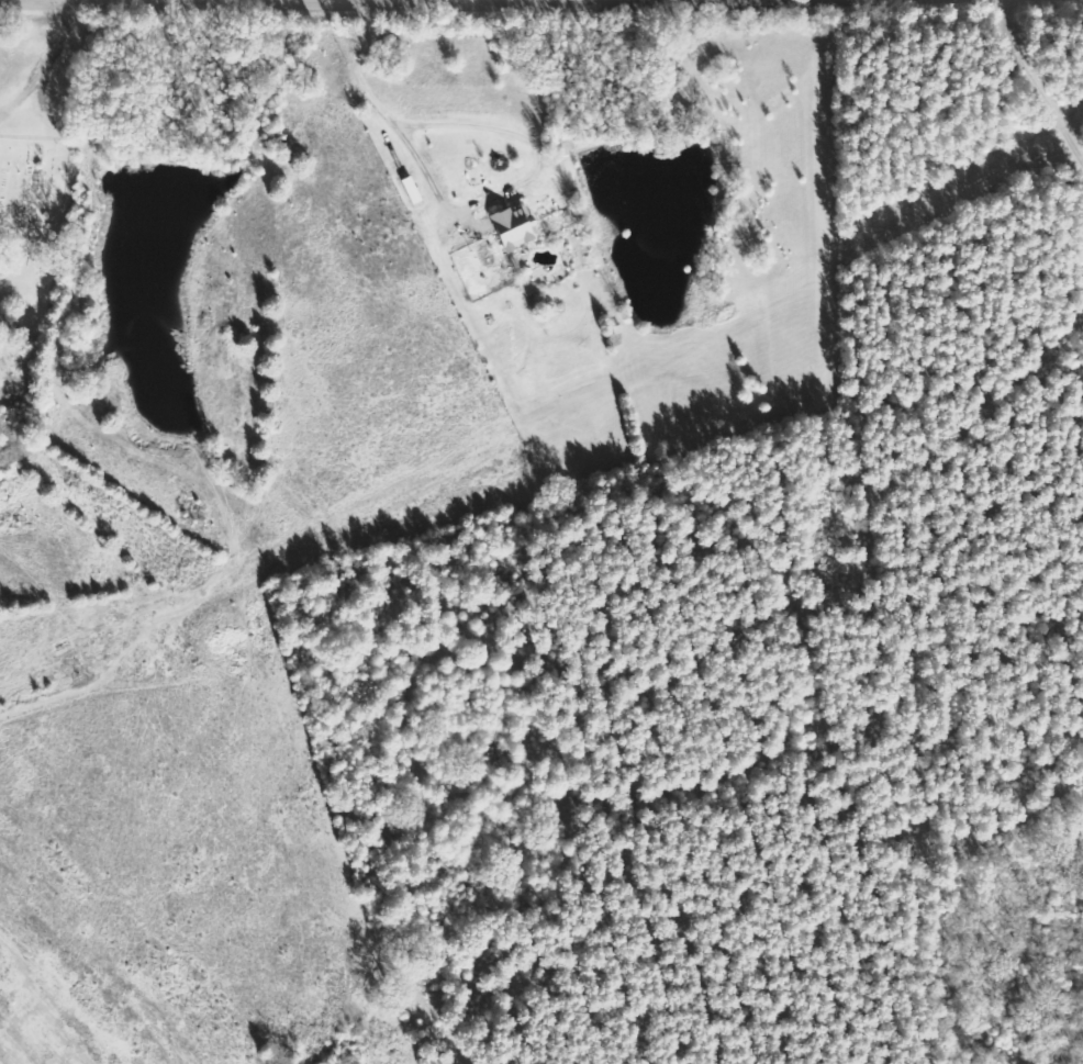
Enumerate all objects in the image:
road: (540, 1)
building: (513, 225)
park: (26, 240)

